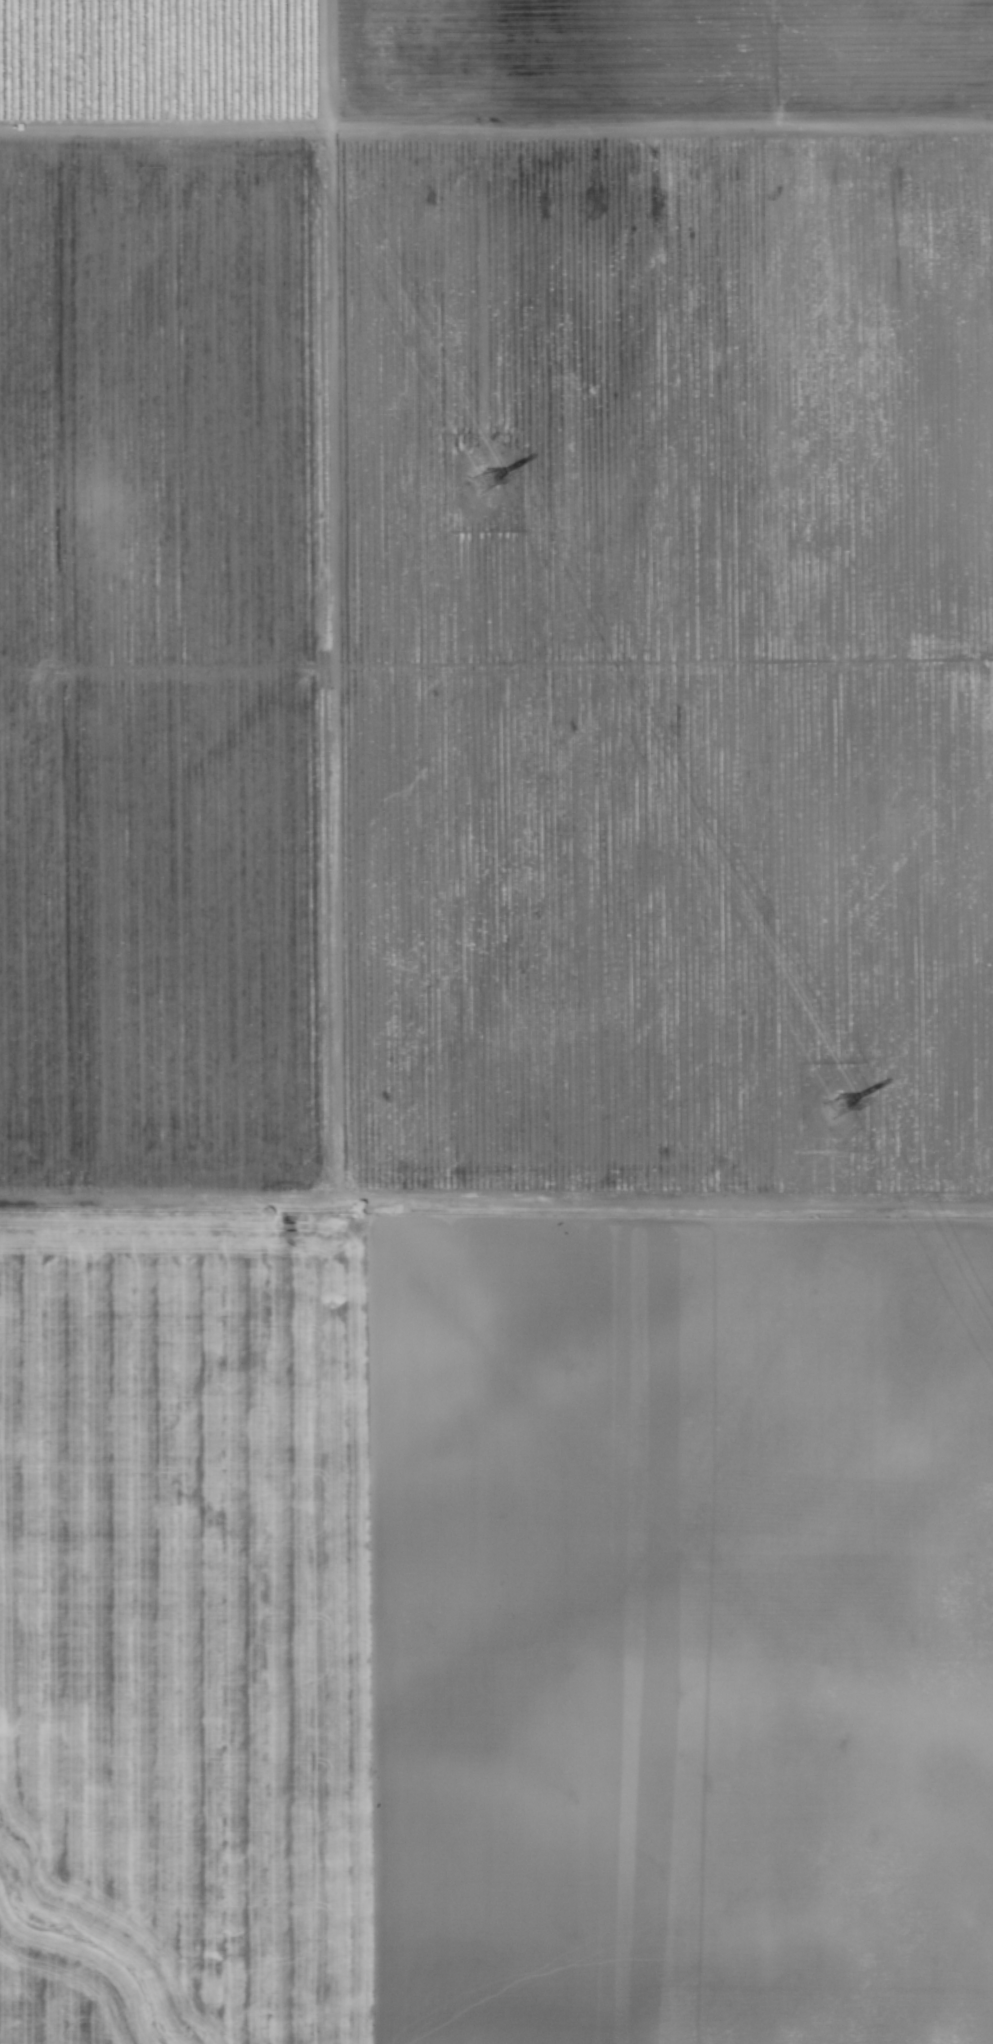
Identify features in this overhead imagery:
road: (325, 65)
road: (496, 127)
power tower: (483, 487)
power tower: (835, 1079)

